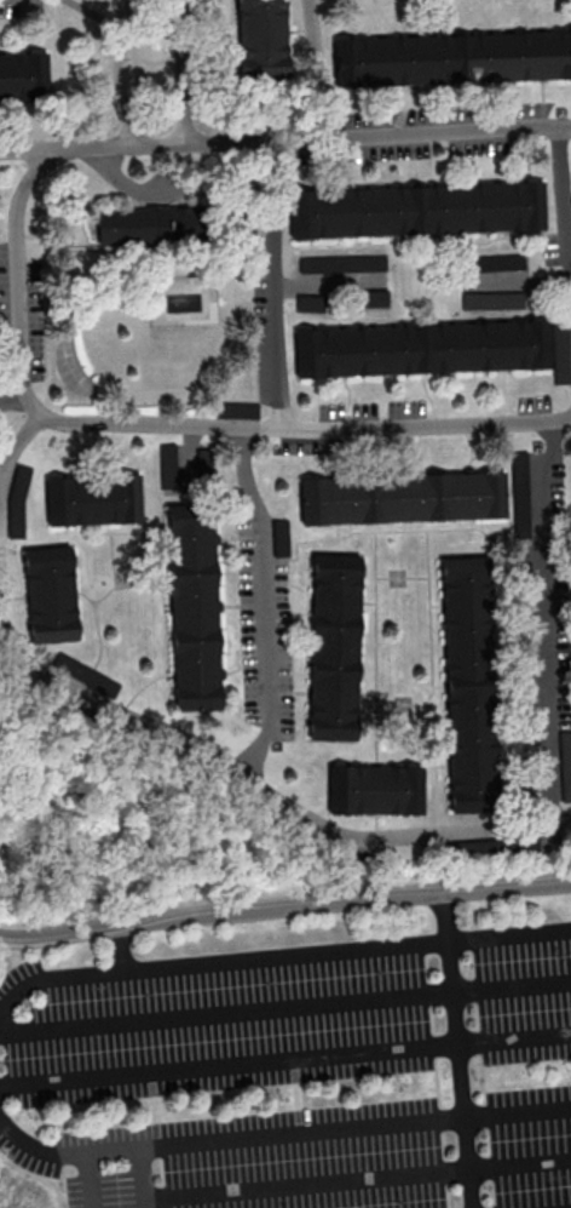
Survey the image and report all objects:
road: (97, 16)
building: (263, 36)
building: (451, 59)
road: (313, 70)
road: (184, 73)
road: (127, 74)
building: (24, 78)
road: (285, 142)
road: (158, 188)
road: (563, 190)
road: (233, 191)
building: (417, 210)
building: (150, 225)
building: (342, 263)
road: (530, 279)
road: (17, 281)
road: (315, 281)
road: (275, 286)
building: (375, 297)
building: (422, 349)
building: (561, 353)
building: (237, 410)
road: (307, 430)
road: (2, 469)
road: (1, 471)
building: (531, 493)
building: (402, 498)
building: (94, 499)
building: (18, 502)
building: (283, 538)
building: (50, 595)
road: (269, 603)
building: (194, 607)
road: (547, 622)
building: (334, 647)
building: (87, 674)
building: (472, 685)
building: (566, 766)
road: (260, 786)
building: (375, 790)
road: (284, 912)
road: (509, 935)
road: (264, 957)
road: (56, 978)
road: (512, 985)
road: (226, 1013)
road: (514, 1038)
road: (458, 1052)
road: (229, 1065)
parking lot: (300, 1070)
road: (519, 1111)
road: (225, 1139)
road: (140, 1179)
road: (356, 1179)
road: (91, 1180)

